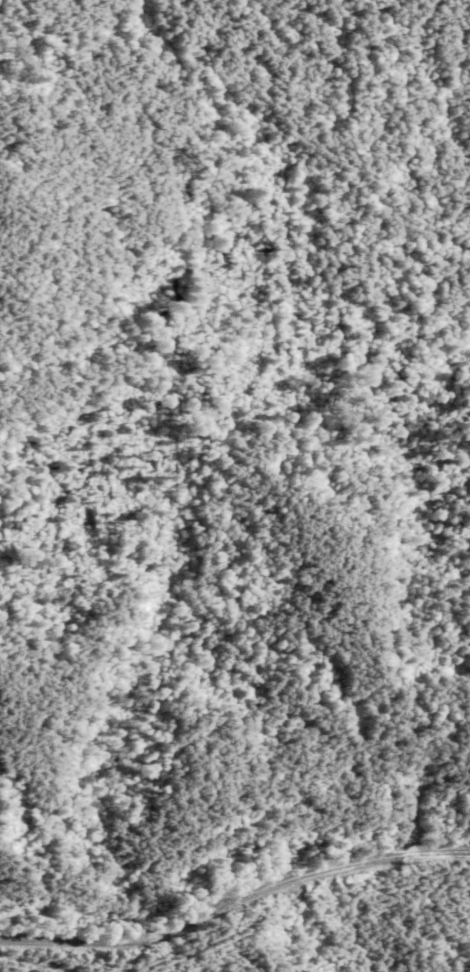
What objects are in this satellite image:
road: (237, 911)

